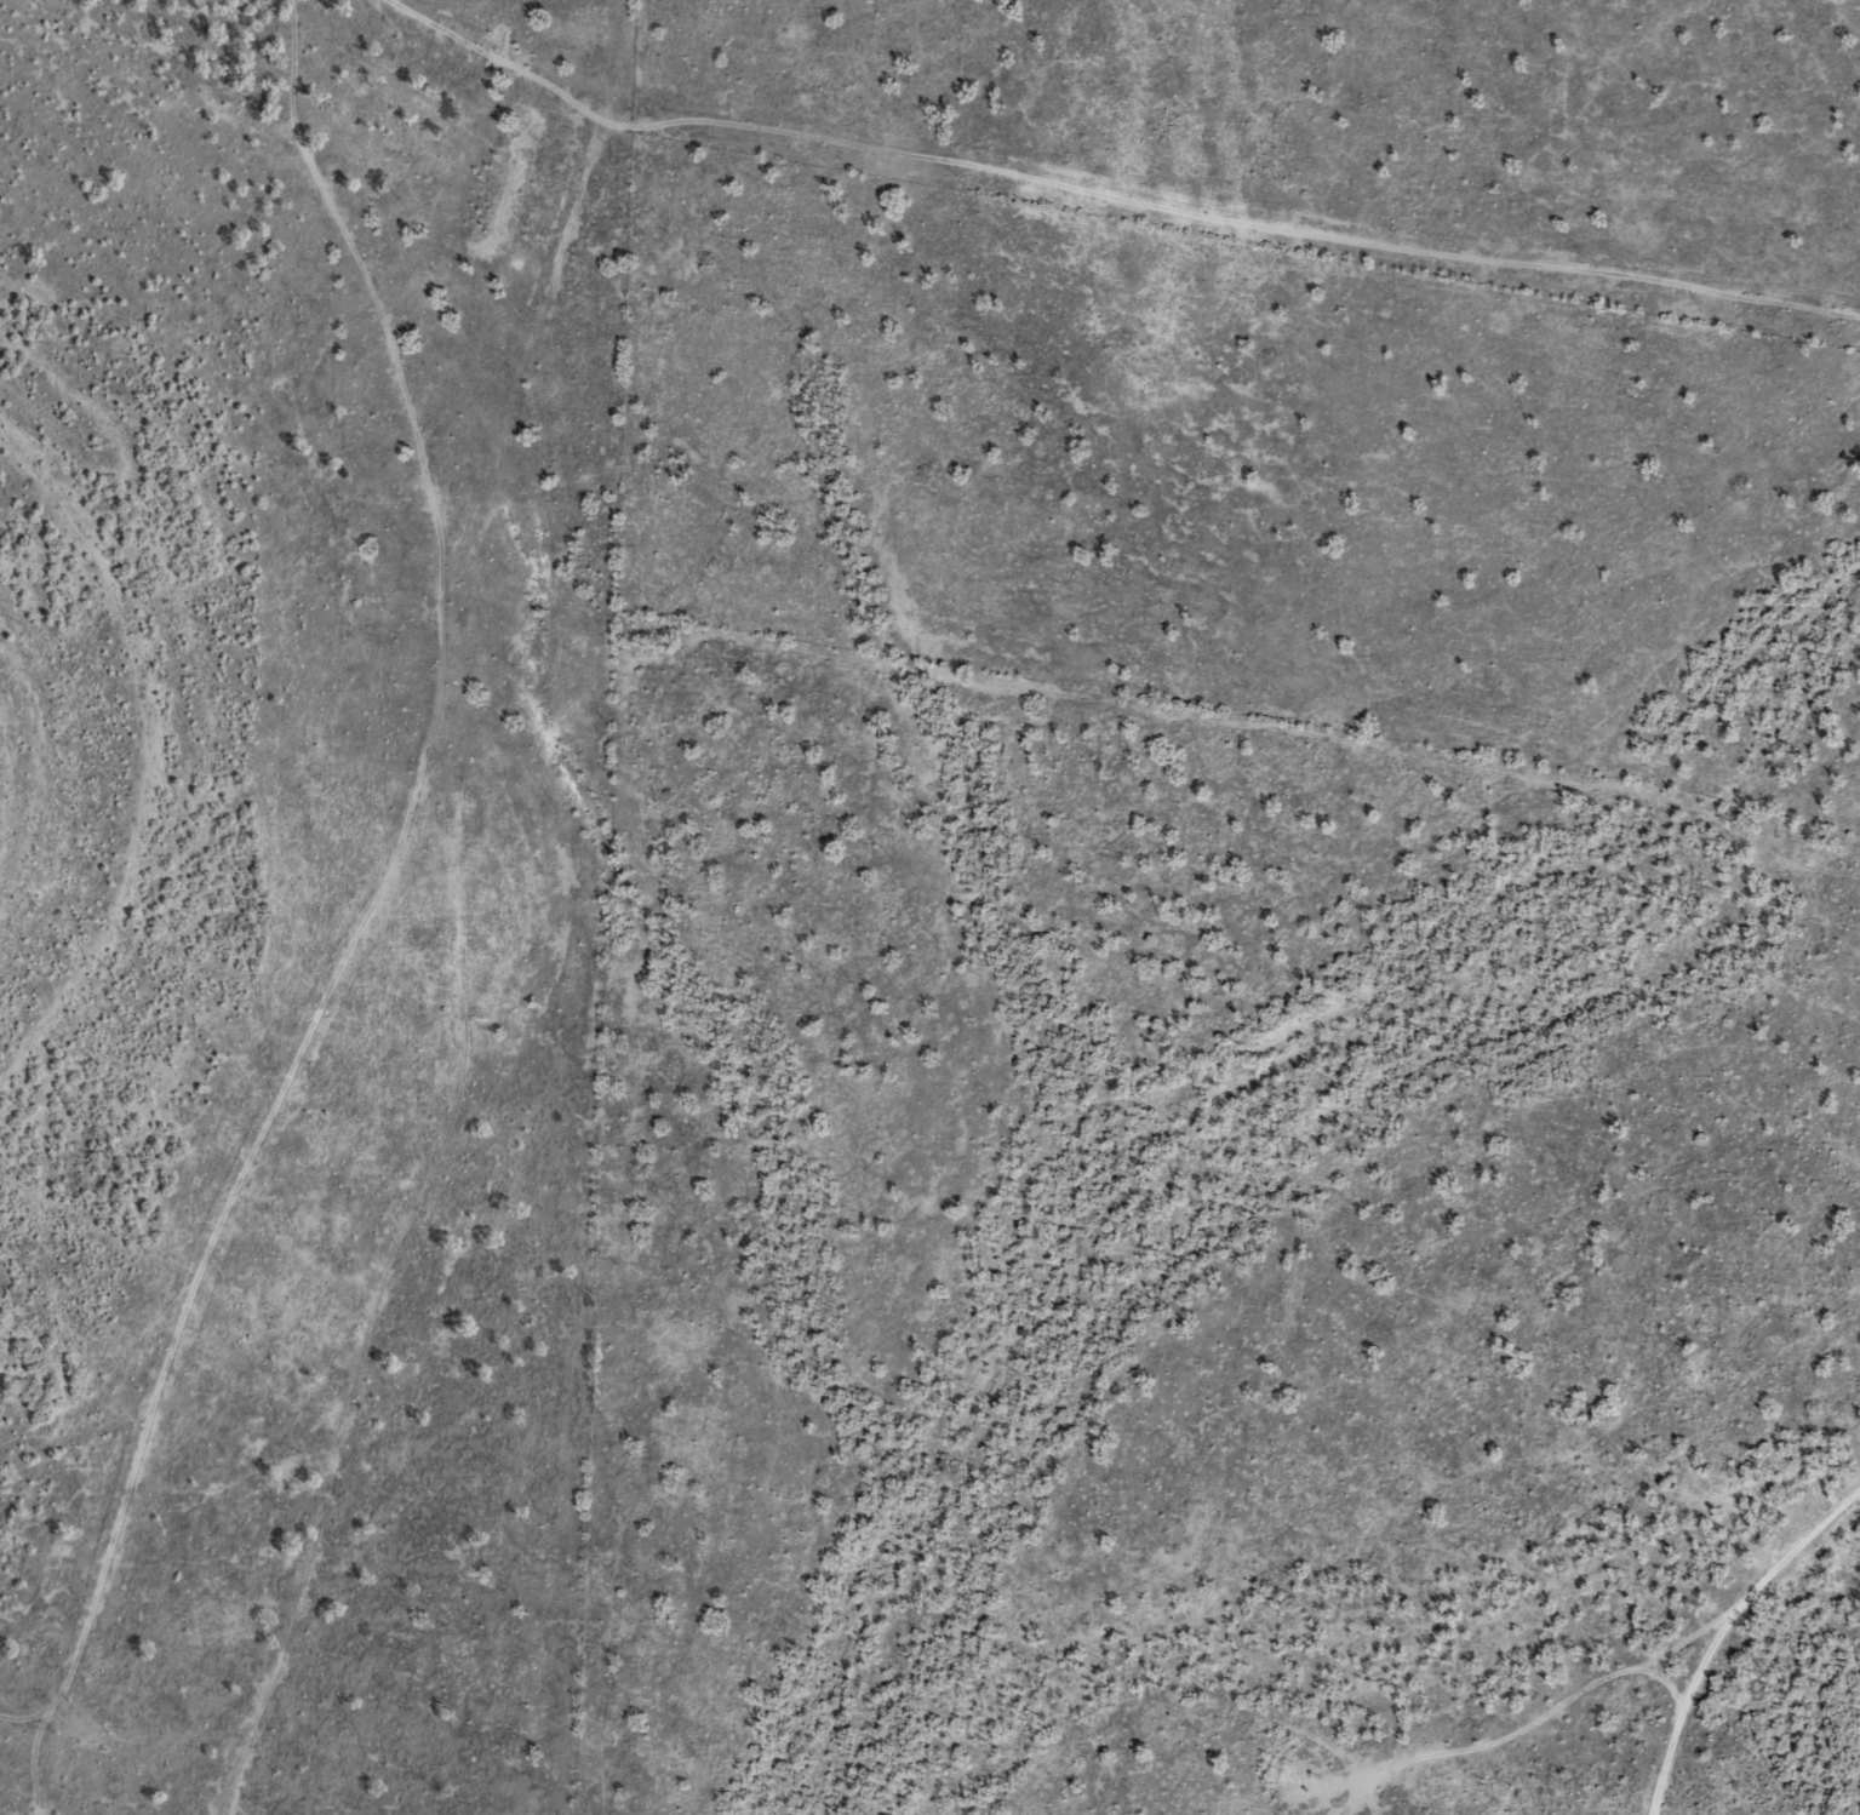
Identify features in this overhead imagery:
road: (1138, 177)
road: (420, 916)
road: (1753, 1661)

